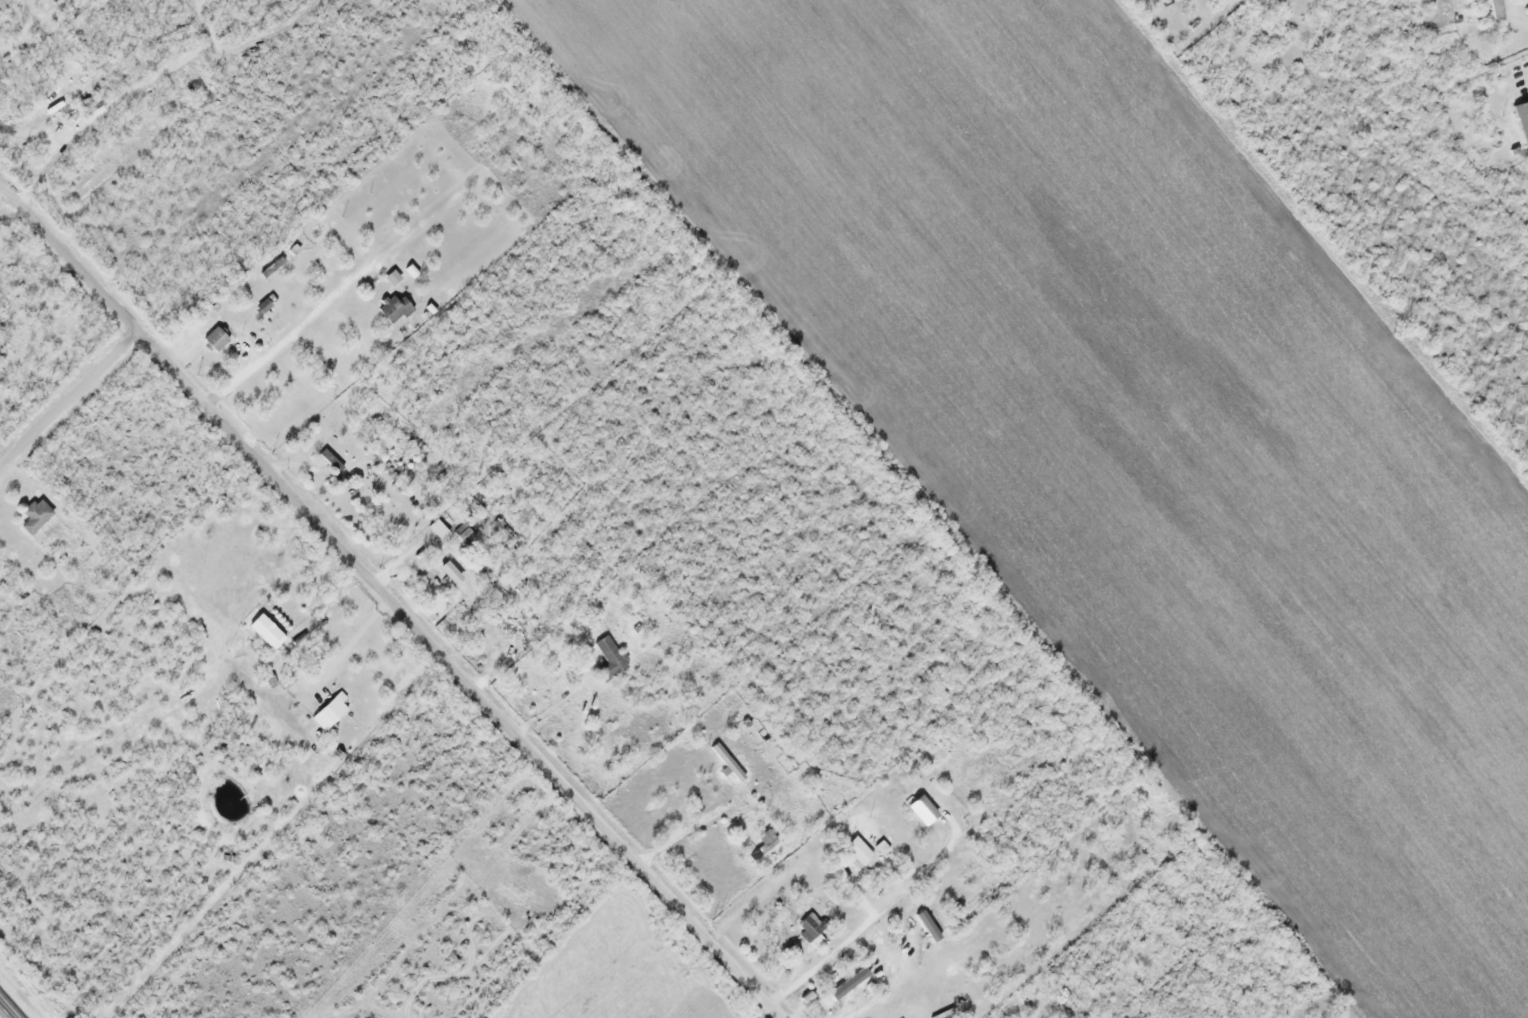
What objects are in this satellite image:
building: (1497, 9)
road: (24, 14)
road: (47, 15)
road: (16, 42)
building: (183, 77)
building: (1516, 106)
building: (47, 110)
road: (53, 160)
building: (264, 305)
building: (397, 308)
road: (296, 327)
building: (217, 338)
road: (69, 399)
building: (332, 460)
building: (37, 516)
building: (440, 529)
building: (466, 533)
building: (453, 573)
road: (390, 599)
building: (268, 632)
building: (611, 659)
building: (331, 712)
building: (917, 791)
building: (860, 851)
building: (927, 925)
building: (811, 930)
building: (844, 986)
road: (7, 1009)

